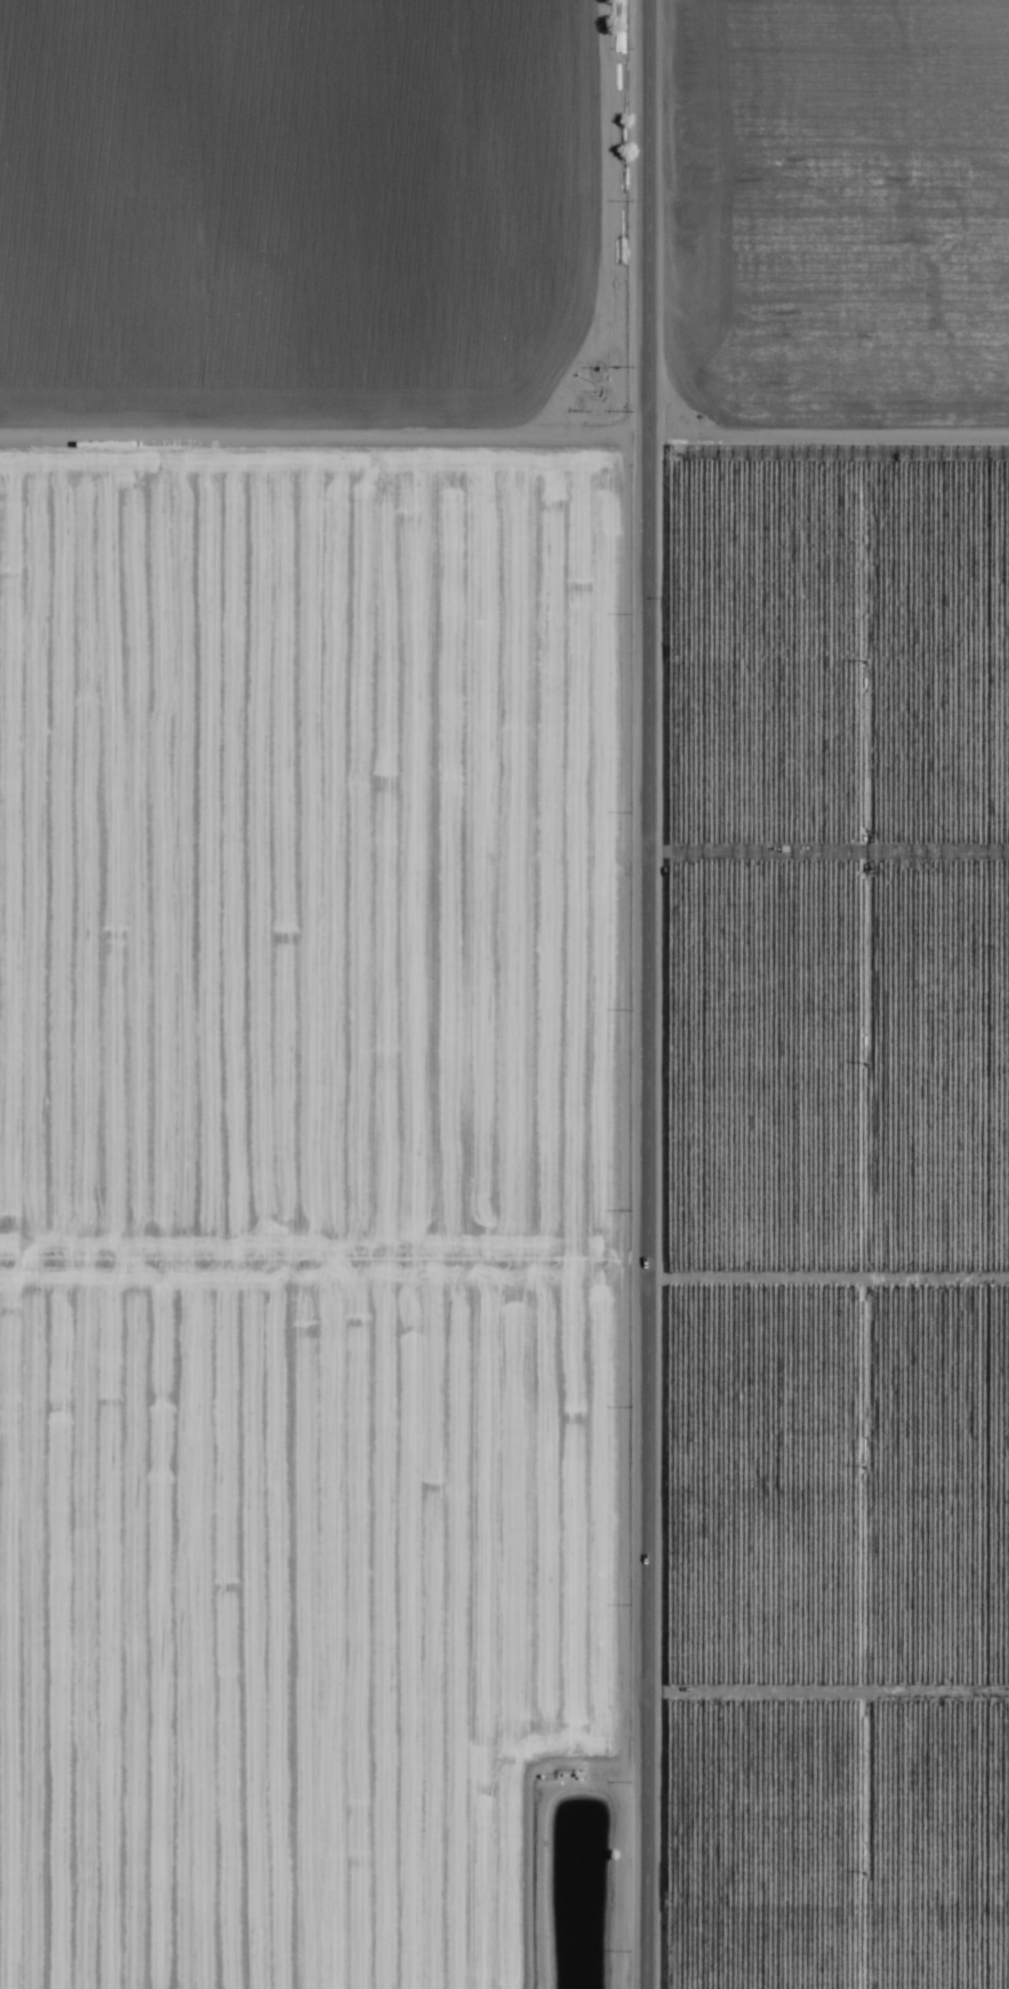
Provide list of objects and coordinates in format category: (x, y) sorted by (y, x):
building: (503, 395)
road: (327, 425)
crop: (504, 994)
road: (653, 994)
wastewater plant: (578, 1861)

